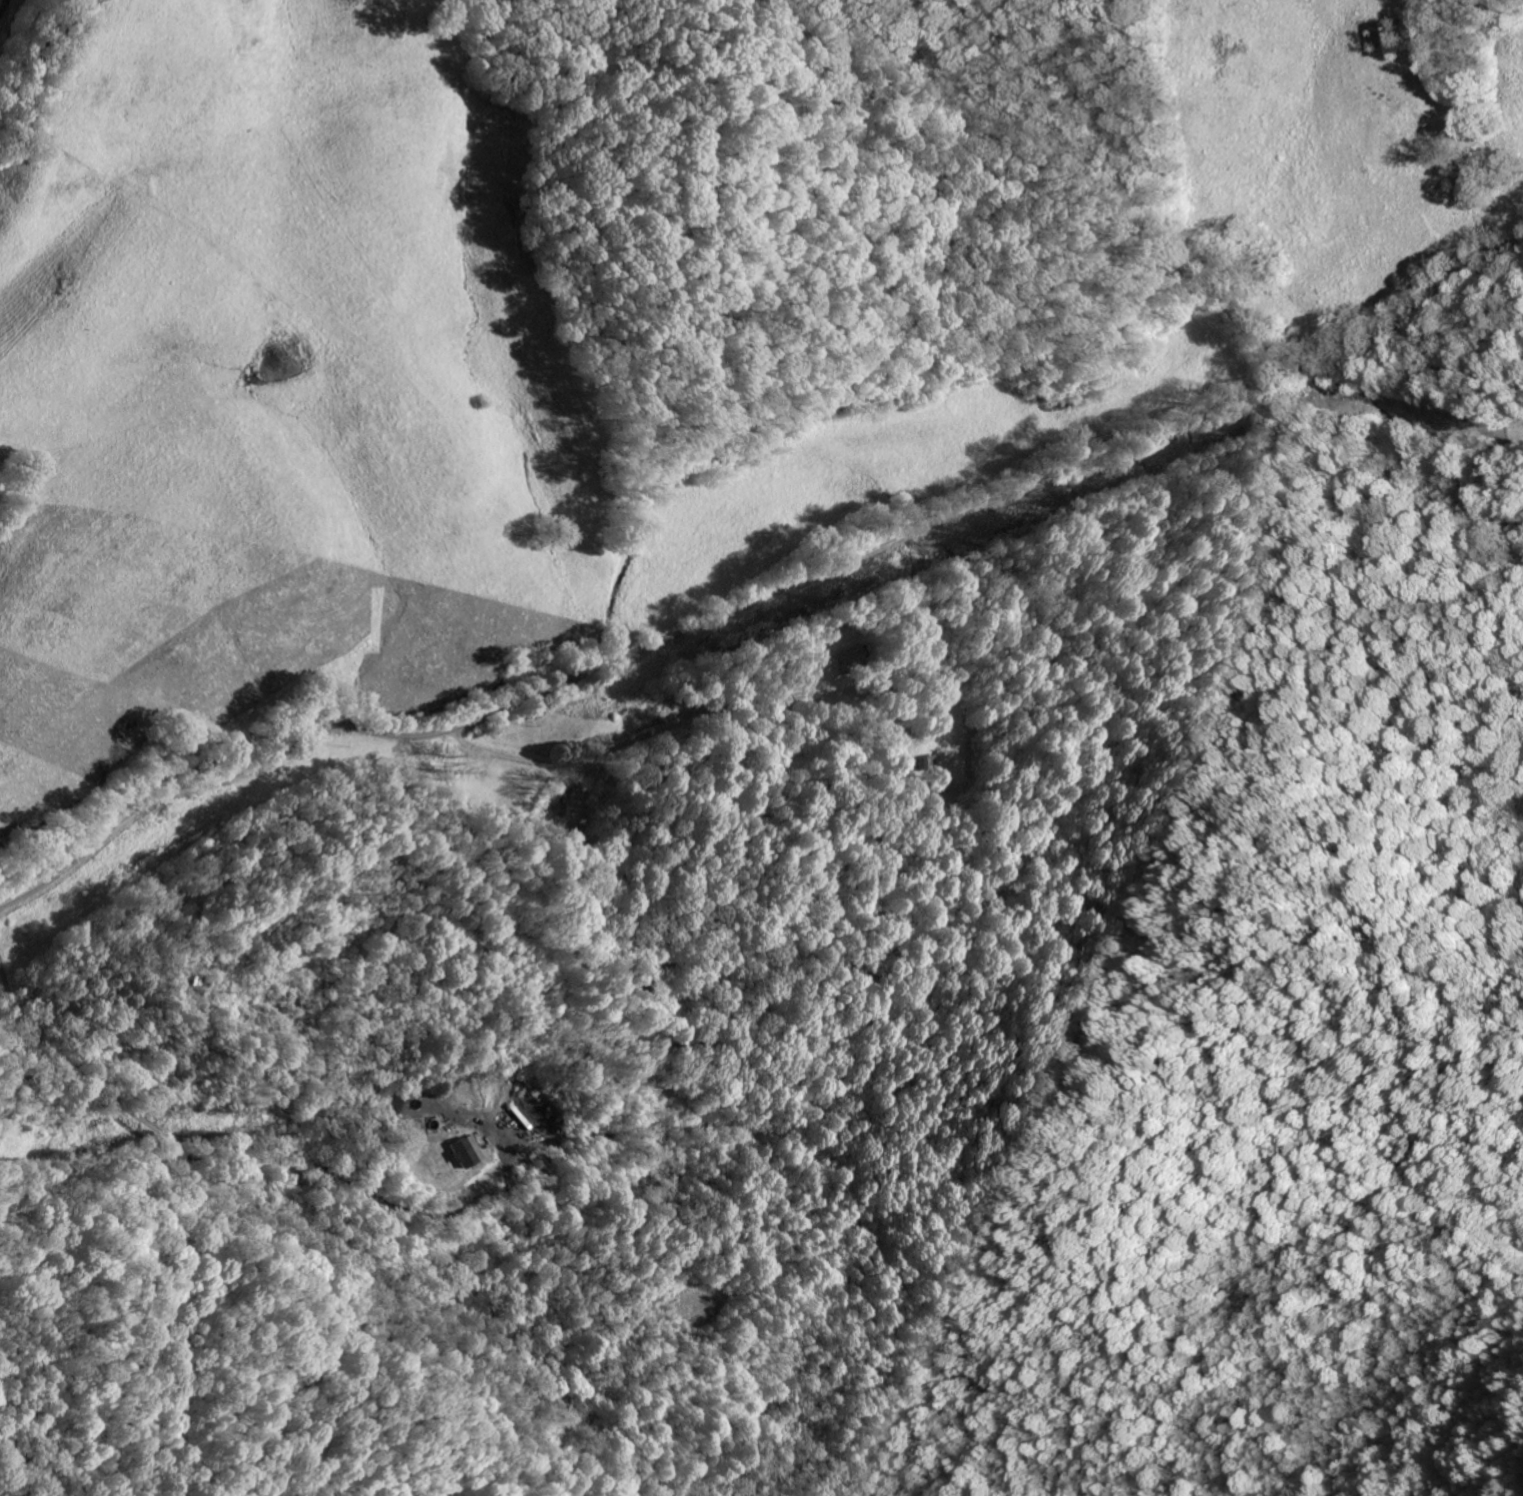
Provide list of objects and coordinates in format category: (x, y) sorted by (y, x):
building: (1385, 39)
road: (765, 596)
road: (984, 616)
building: (841, 655)
building: (939, 786)
road: (16, 878)
road: (402, 888)
building: (462, 1151)

